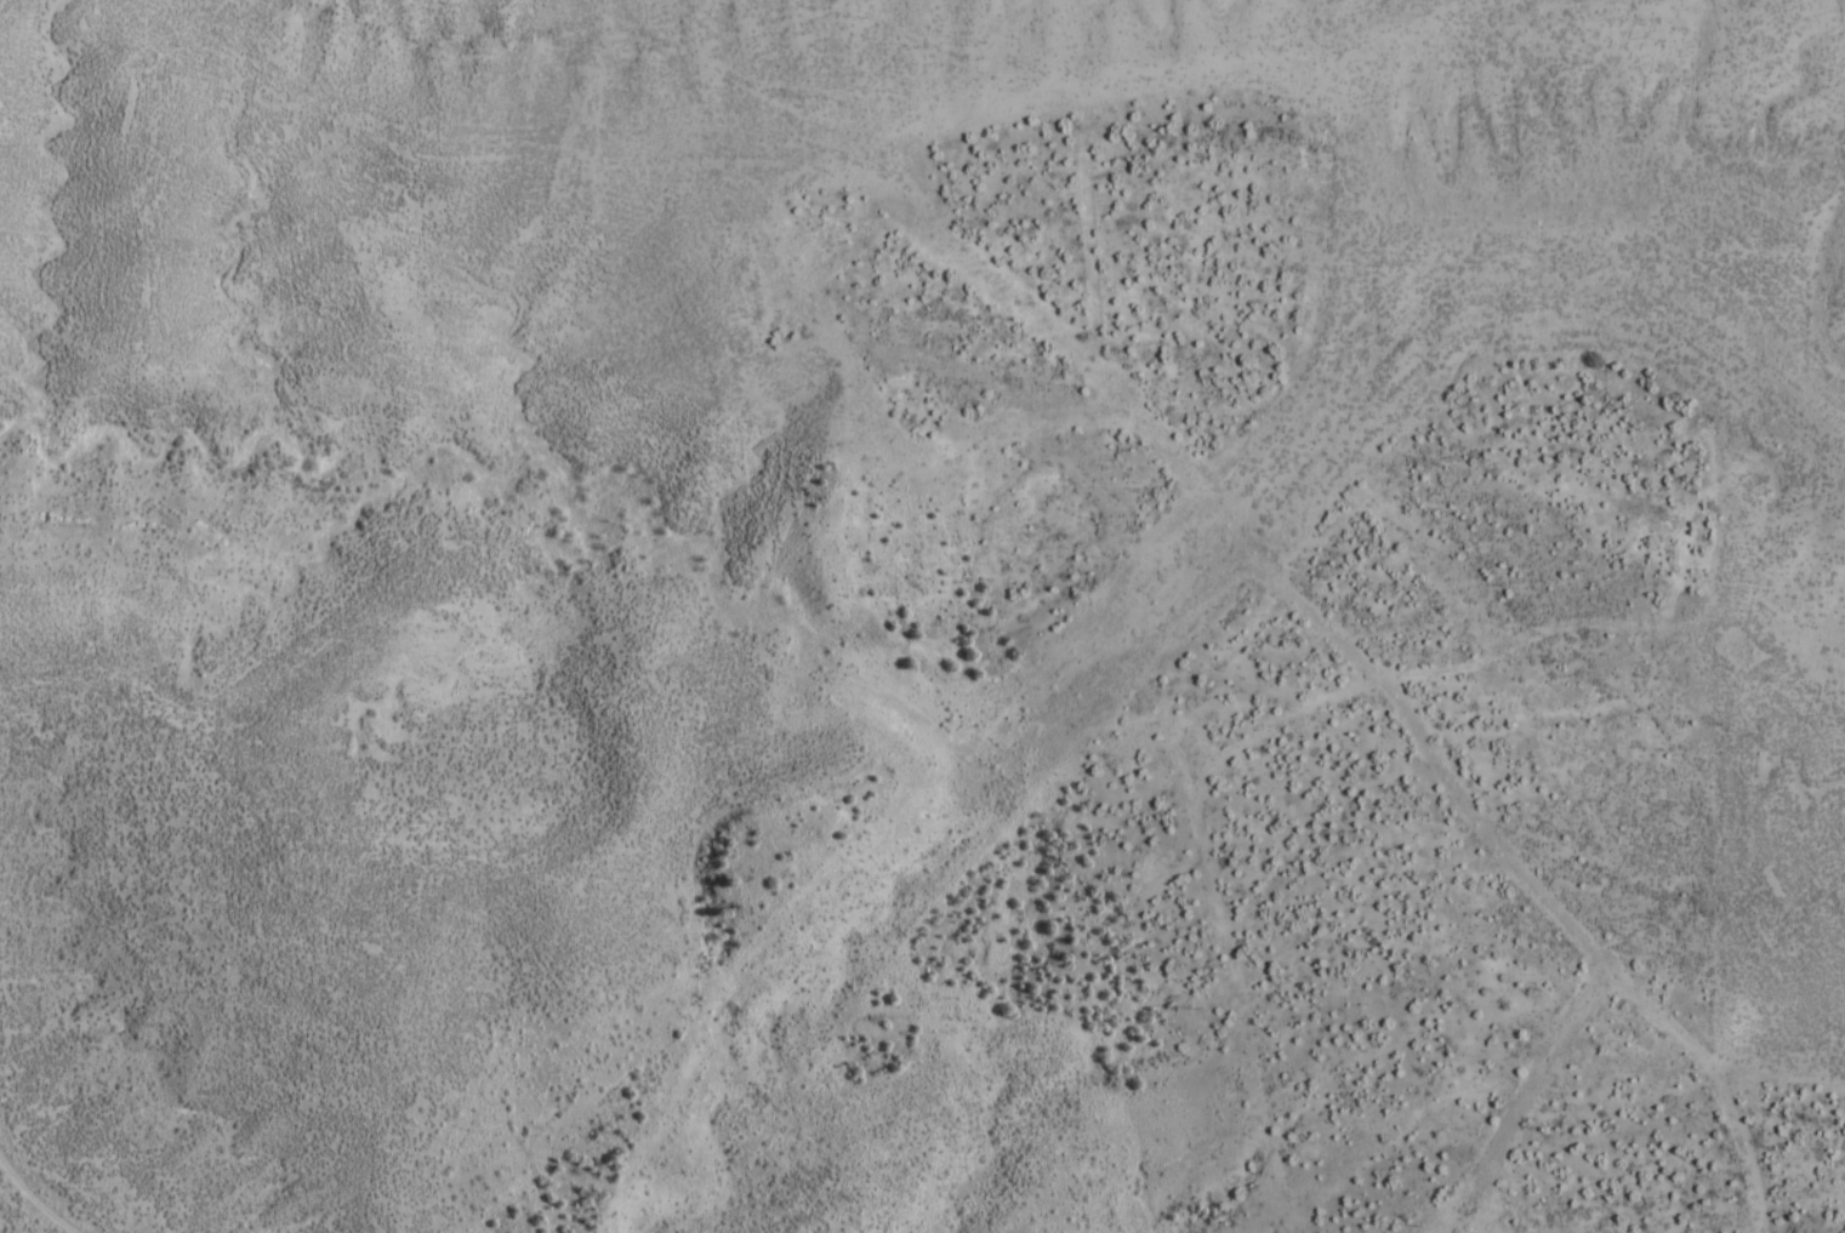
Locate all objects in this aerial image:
road: (1736, 114)
road: (1306, 613)

